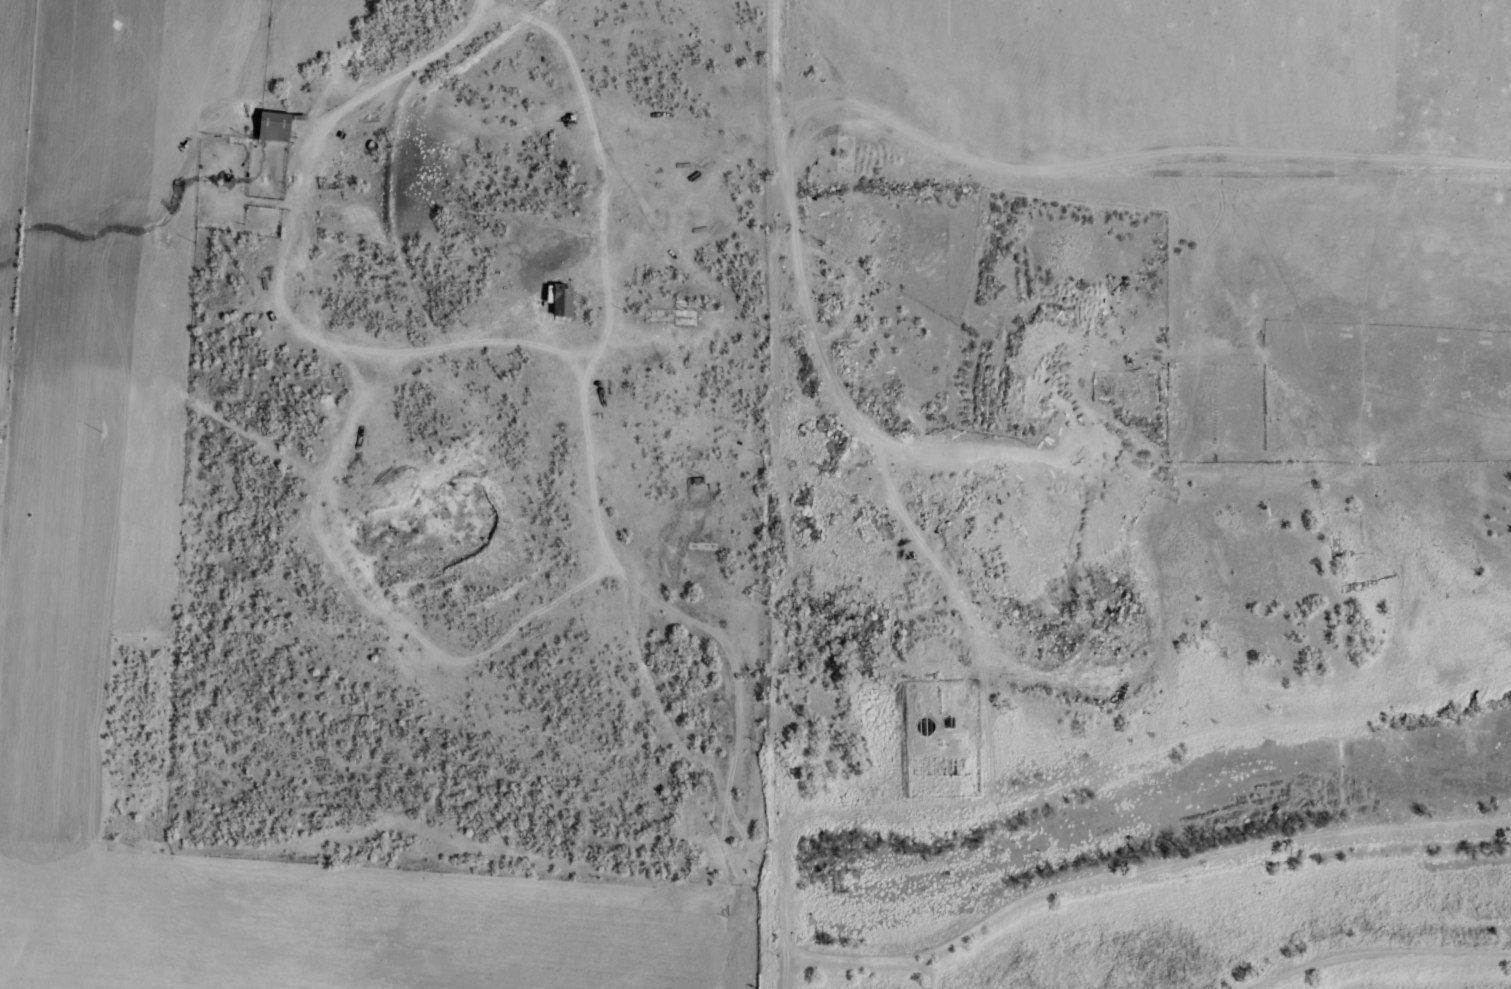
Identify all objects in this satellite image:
building: (270, 127)
road: (615, 151)
building: (556, 300)
road: (173, 448)
road: (899, 461)

